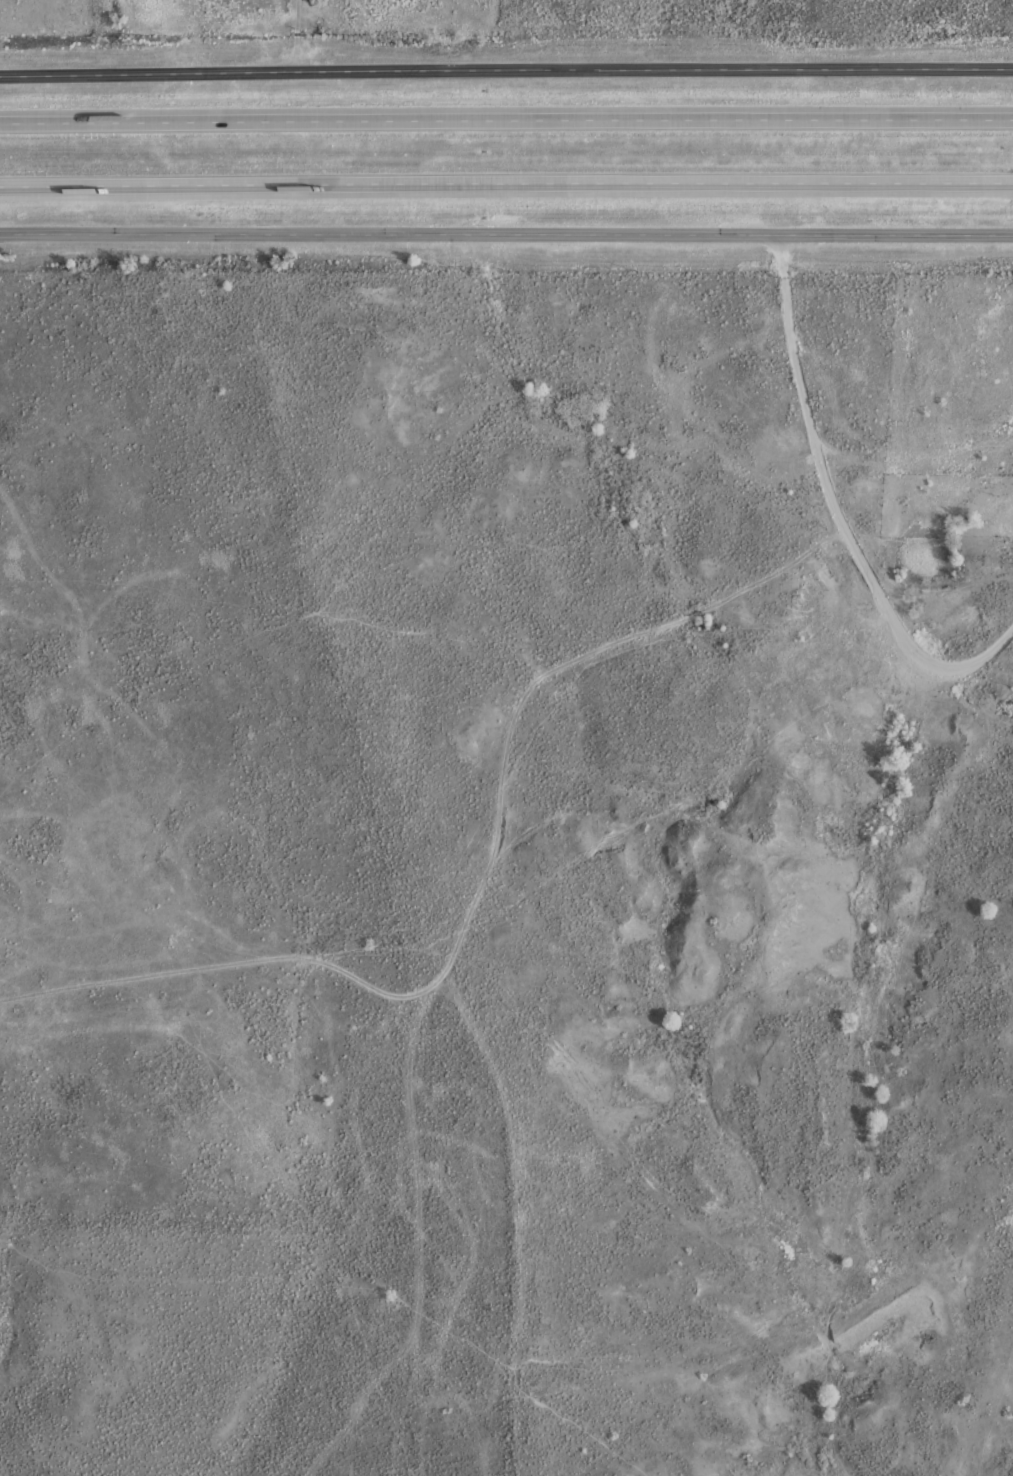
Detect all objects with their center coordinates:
road: (292, 37)
road: (506, 72)
road: (506, 116)
road: (506, 182)
road: (506, 236)

